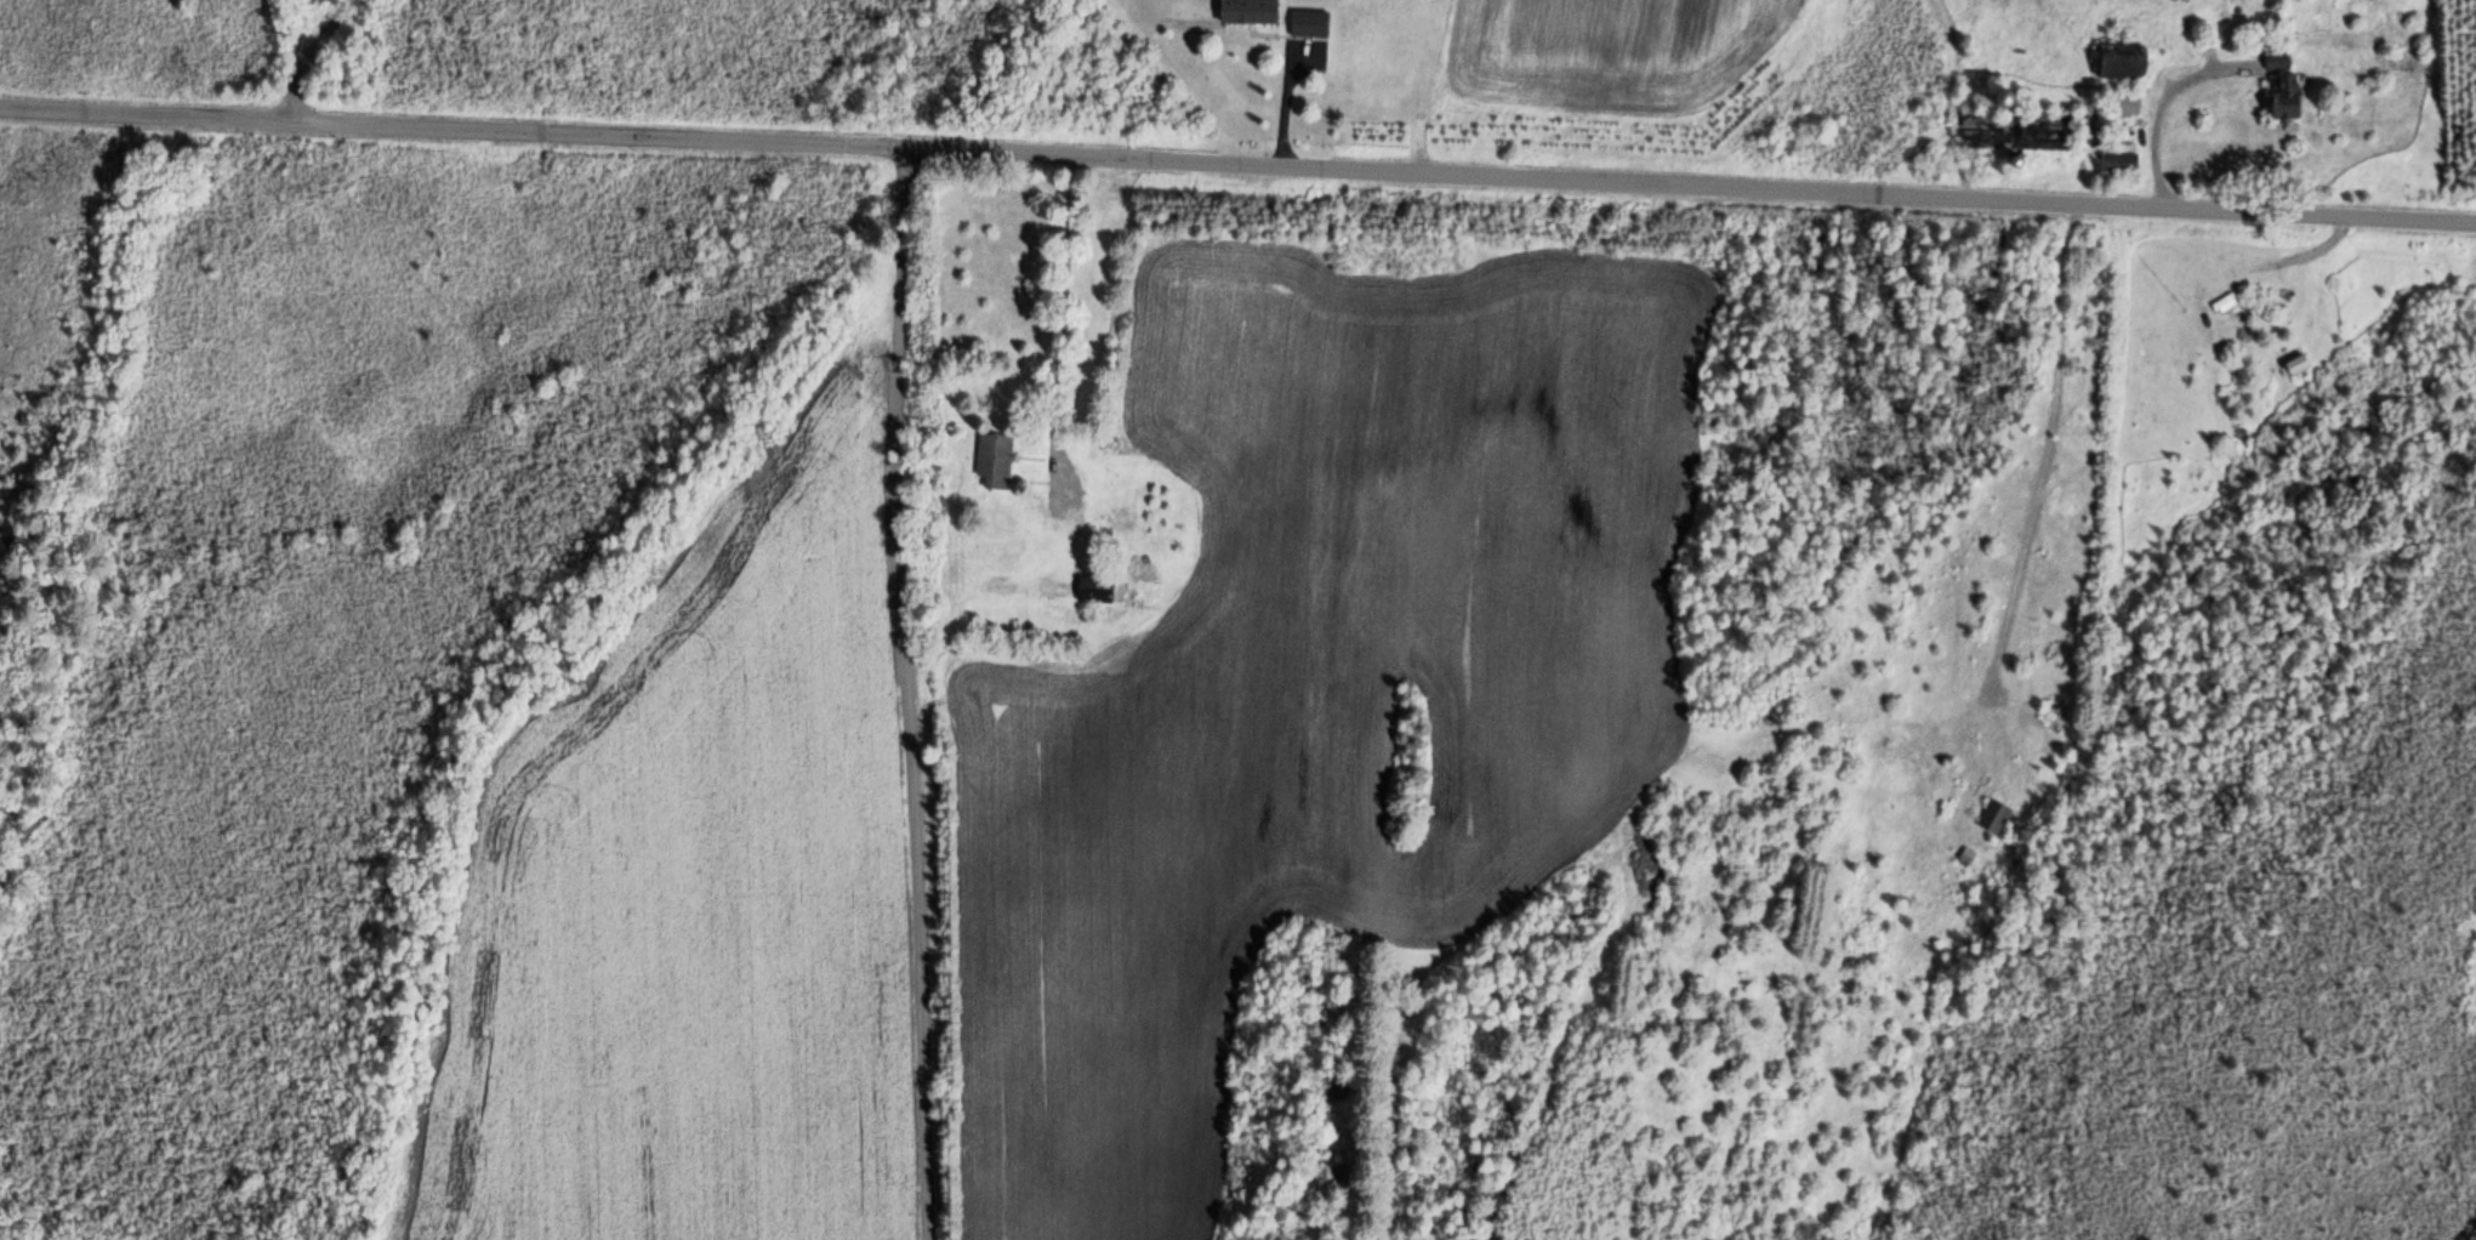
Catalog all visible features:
road: (1282, 115)
road: (2156, 116)
road: (1237, 163)
road: (1057, 307)
road: (2047, 445)
road: (901, 693)

